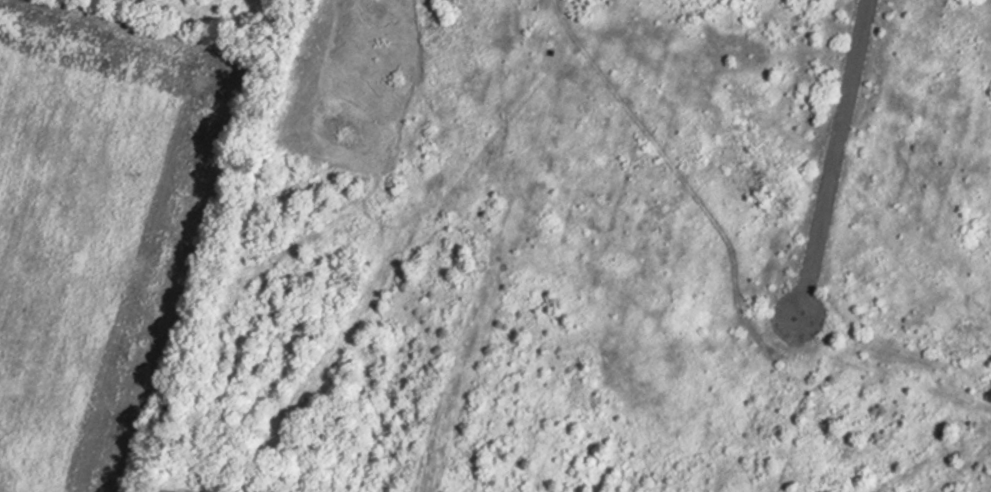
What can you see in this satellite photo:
road: (840, 155)

